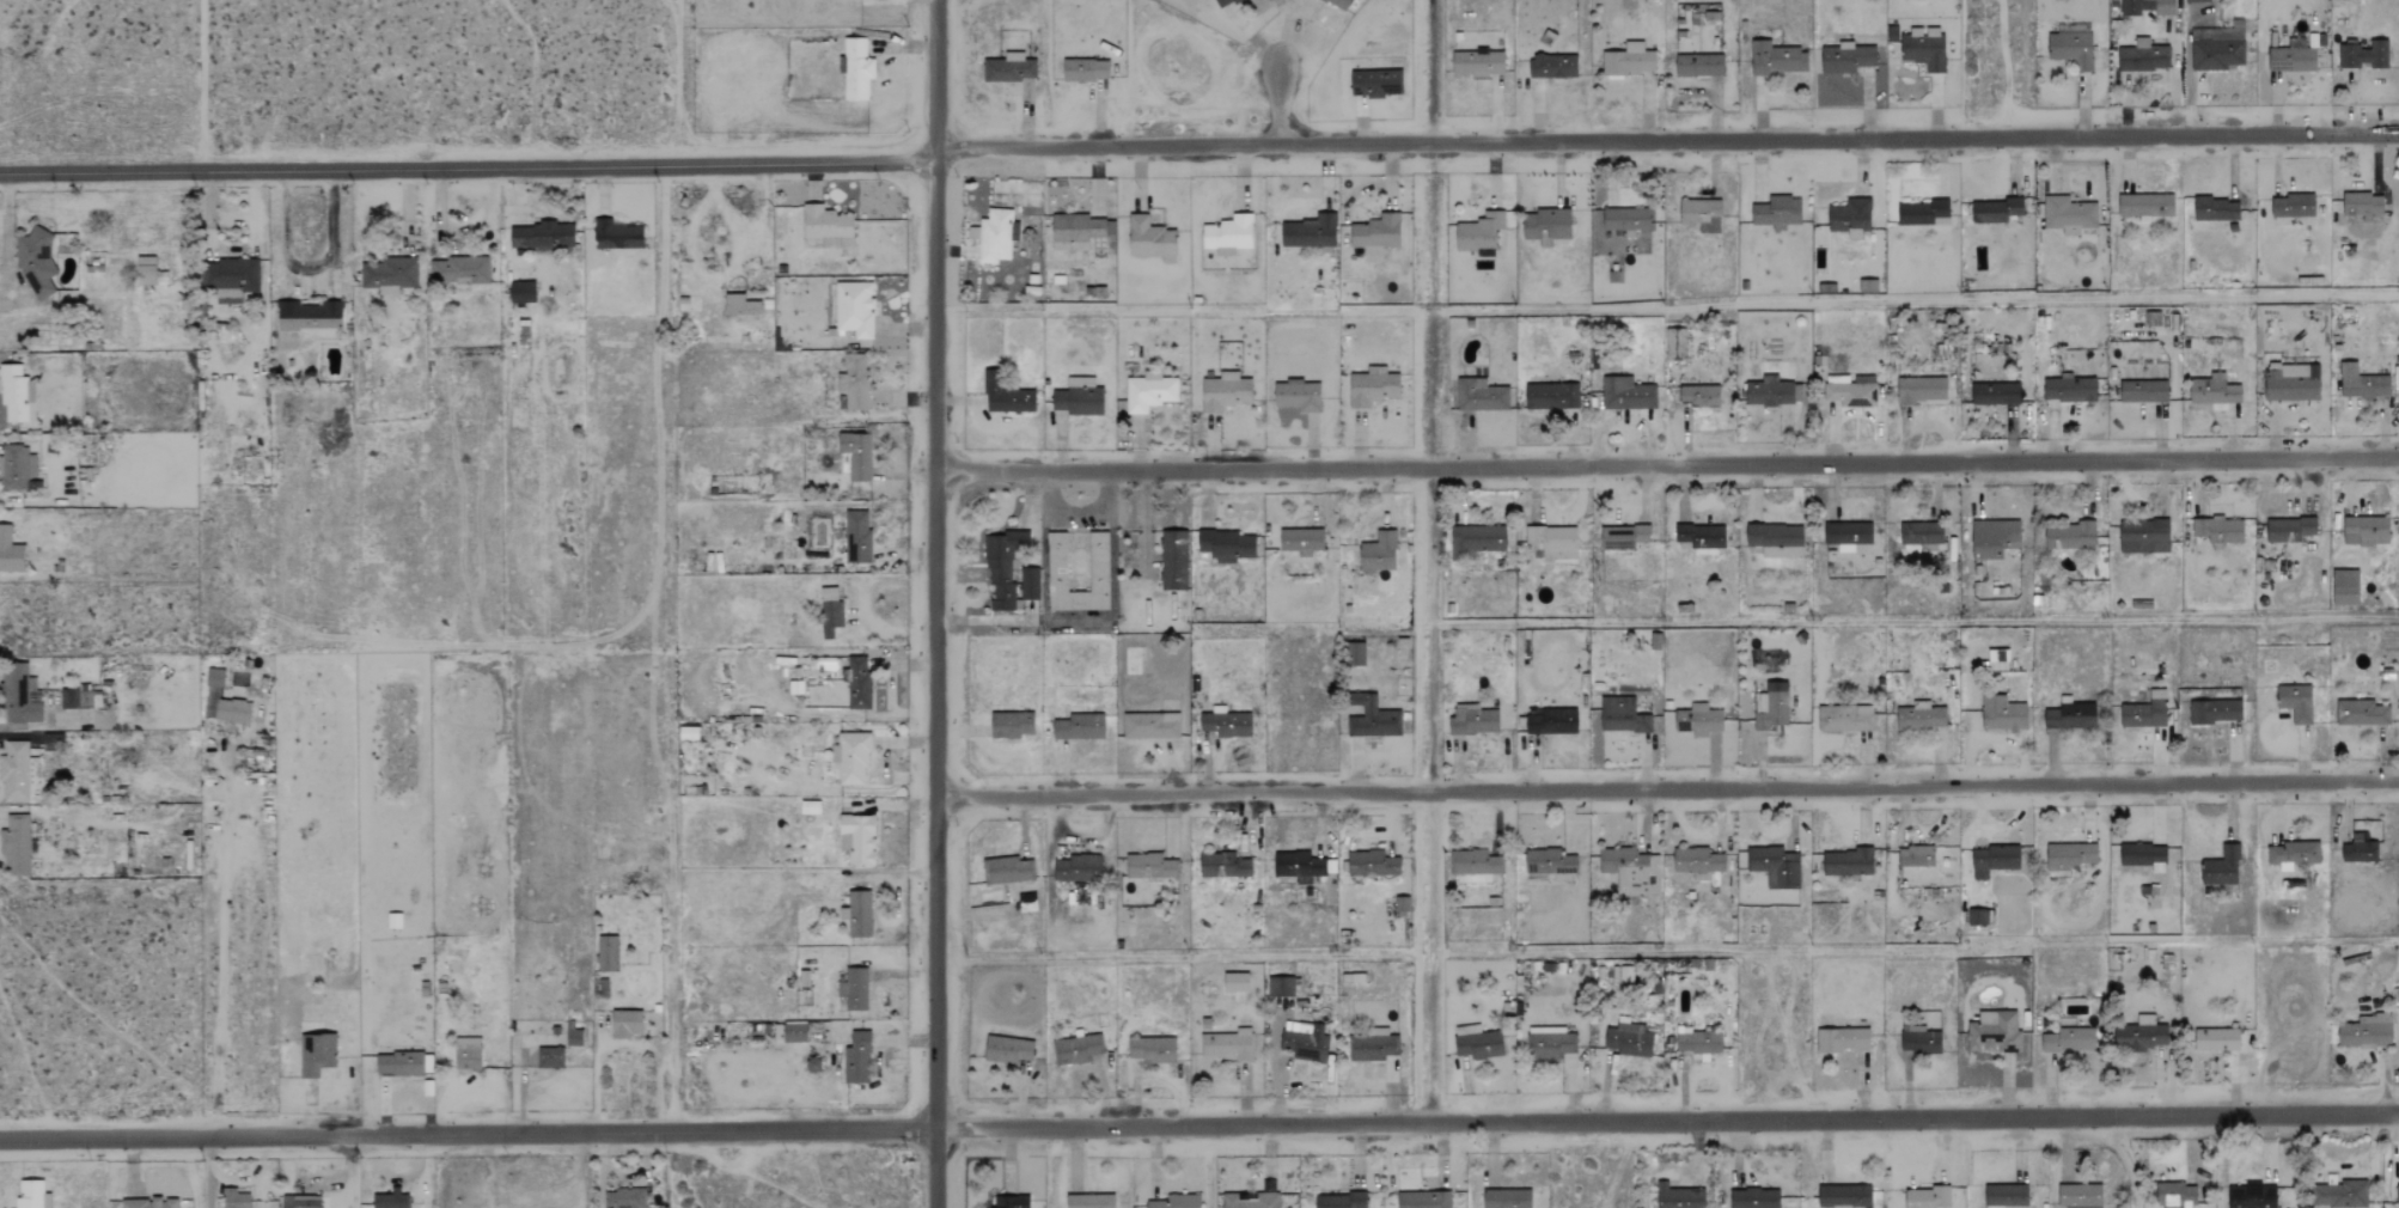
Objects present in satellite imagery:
building: (2196, 0)
building: (1222, 2)
building: (1338, 4)
building: (2147, 7)
building: (1923, 48)
building: (2218, 48)
building: (2071, 50)
building: (2363, 54)
building: (2143, 56)
building: (2291, 56)
building: (1845, 57)
building: (1629, 59)
building: (1776, 59)
building: (1478, 63)
building: (1698, 65)
building: (1552, 66)
building: (1008, 67)
building: (855, 68)
building: (1085, 69)
building: (1375, 83)
road: (1277, 102)
road: (1197, 146)
building: (2145, 205)
building: (2362, 205)
road: (762, 206)
building: (2216, 208)
building: (1995, 211)
building: (1776, 212)
building: (1923, 212)
building: (2291, 212)
building: (1701, 214)
building: (2068, 214)
building: (1850, 218)
building: (1626, 219)
building: (1548, 220)
building: (826, 225)
building: (1078, 231)
building: (1308, 231)
building: (1375, 233)
building: (1479, 233)
building: (616, 234)
building: (1227, 234)
building: (995, 236)
building: (1149, 236)
building: (541, 237)
building: (36, 263)
road: (306, 269)
building: (145, 270)
building: (457, 272)
building: (387, 274)
road: (702, 275)
building: (231, 277)
building: (1863, 286)
building: (521, 292)
building: (740, 305)
building: (853, 307)
road: (1667, 310)
building: (309, 319)
building: (1675, 343)
building: (853, 380)
building: (2290, 382)
building: (2361, 383)
building: (1372, 386)
building: (2069, 389)
building: (1850, 390)
building: (1919, 390)
building: (2214, 390)
building: (1148, 391)
building: (1223, 391)
building: (1772, 391)
building: (2143, 391)
building: (14, 393)
building: (1626, 393)
building: (1995, 393)
building: (1298, 395)
building: (1479, 395)
building: (1699, 395)
building: (1005, 396)
building: (1551, 396)
building: (1078, 397)
building: (855, 454)
road: (1911, 460)
building: (16, 468)
road: (1180, 469)
building: (2289, 529)
building: (2217, 530)
building: (2366, 530)
building: (1921, 532)
building: (1846, 535)
building: (856, 536)
building: (2069, 536)
building: (2143, 536)
building: (1624, 537)
building: (1994, 537)
building: (1701, 538)
building: (1300, 539)
building: (1477, 539)
building: (1775, 539)
building: (1553, 541)
building: (1226, 544)
building: (10, 553)
building: (1378, 553)
building: (1172, 560)
building: (1056, 562)
building: (1000, 571)
building: (1028, 580)
building: (2344, 587)
road: (936, 603)
building: (829, 611)
building: (1356, 653)
building: (857, 682)
building: (19, 695)
building: (78, 698)
building: (221, 702)
building: (2295, 702)
building: (1771, 707)
building: (2145, 712)
building: (2215, 712)
building: (2361, 713)
building: (2002, 714)
building: (1622, 715)
building: (1921, 715)
building: (2069, 715)
building: (1844, 718)
building: (1373, 720)
building: (1698, 720)
building: (1472, 721)
building: (1551, 721)
building: (1225, 722)
road: (32, 724)
building: (1009, 725)
building: (1150, 726)
building: (1078, 727)
building: (850, 757)
building: (19, 774)
road: (1913, 785)
road: (1183, 794)
building: (808, 807)
building: (856, 838)
building: (14, 846)
building: (2358, 852)
building: (2294, 854)
building: (2069, 855)
building: (1915, 856)
building: (2143, 856)
building: (1994, 860)
building: (1846, 862)
building: (1371, 864)
building: (1550, 864)
building: (1698, 864)
building: (1149, 866)
building: (1223, 866)
building: (1296, 866)
building: (1475, 866)
building: (1774, 866)
building: (2221, 867)
building: (1078, 868)
building: (1008, 870)
building: (1631, 870)
building: (1026, 902)
building: (859, 914)
building: (1979, 917)
building: (606, 953)
road: (221, 963)
building: (1235, 980)
building: (1282, 984)
building: (853, 988)
building: (624, 1024)
building: (2290, 1027)
building: (793, 1031)
building: (2366, 1031)
building: (2141, 1033)
building: (572, 1035)
building: (1995, 1035)
building: (1305, 1038)
building: (1628, 1038)
building: (1477, 1039)
building: (1842, 1039)
building: (1919, 1039)
building: (2216, 1039)
building: (1697, 1041)
building: (2068, 1041)
building: (1228, 1043)
building: (1372, 1043)
building: (1549, 1043)
building: (1152, 1045)
building: (1007, 1048)
building: (1076, 1048)
building: (316, 1054)
building: (466, 1054)
building: (549, 1057)
building: (856, 1058)
building: (398, 1063)
road: (1198, 1125)
road: (209, 1172)
road: (581, 1172)
road: (250, 1176)
road: (494, 1180)
building: (2397, 1190)
building: (31, 1192)
building: (2343, 1192)
building: (1843, 1194)
building: (2007, 1194)
building: (2177, 1194)
building: (1678, 1195)
building: (1925, 1195)
building: (2251, 1195)
building: (2078, 1196)
building: (233, 1197)
building: (623, 1197)
building: (1754, 1197)
building: (391, 1198)
building: (1506, 1198)
building: (1009, 1200)
building: (1088, 1200)
building: (1176, 1200)
building: (1250, 1200)
building: (1423, 1200)
building: (1339, 1201)
building: (299, 1202)
building: (148, 1203)
road: (575, 1204)

